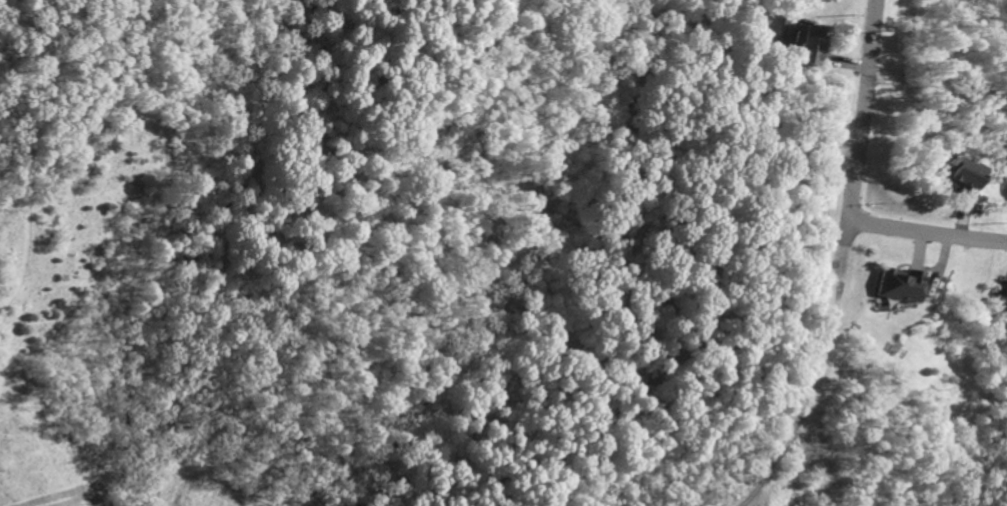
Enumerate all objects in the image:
building: (806, 43)
road: (861, 112)
building: (958, 173)
road: (846, 232)
road: (927, 235)
building: (897, 284)
building: (1002, 301)
road: (775, 463)

